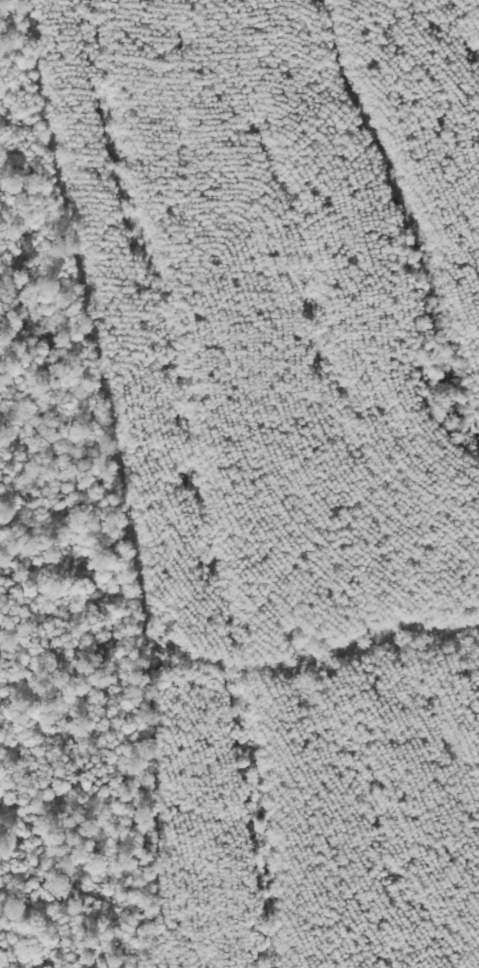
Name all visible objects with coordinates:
road: (132, 481)

